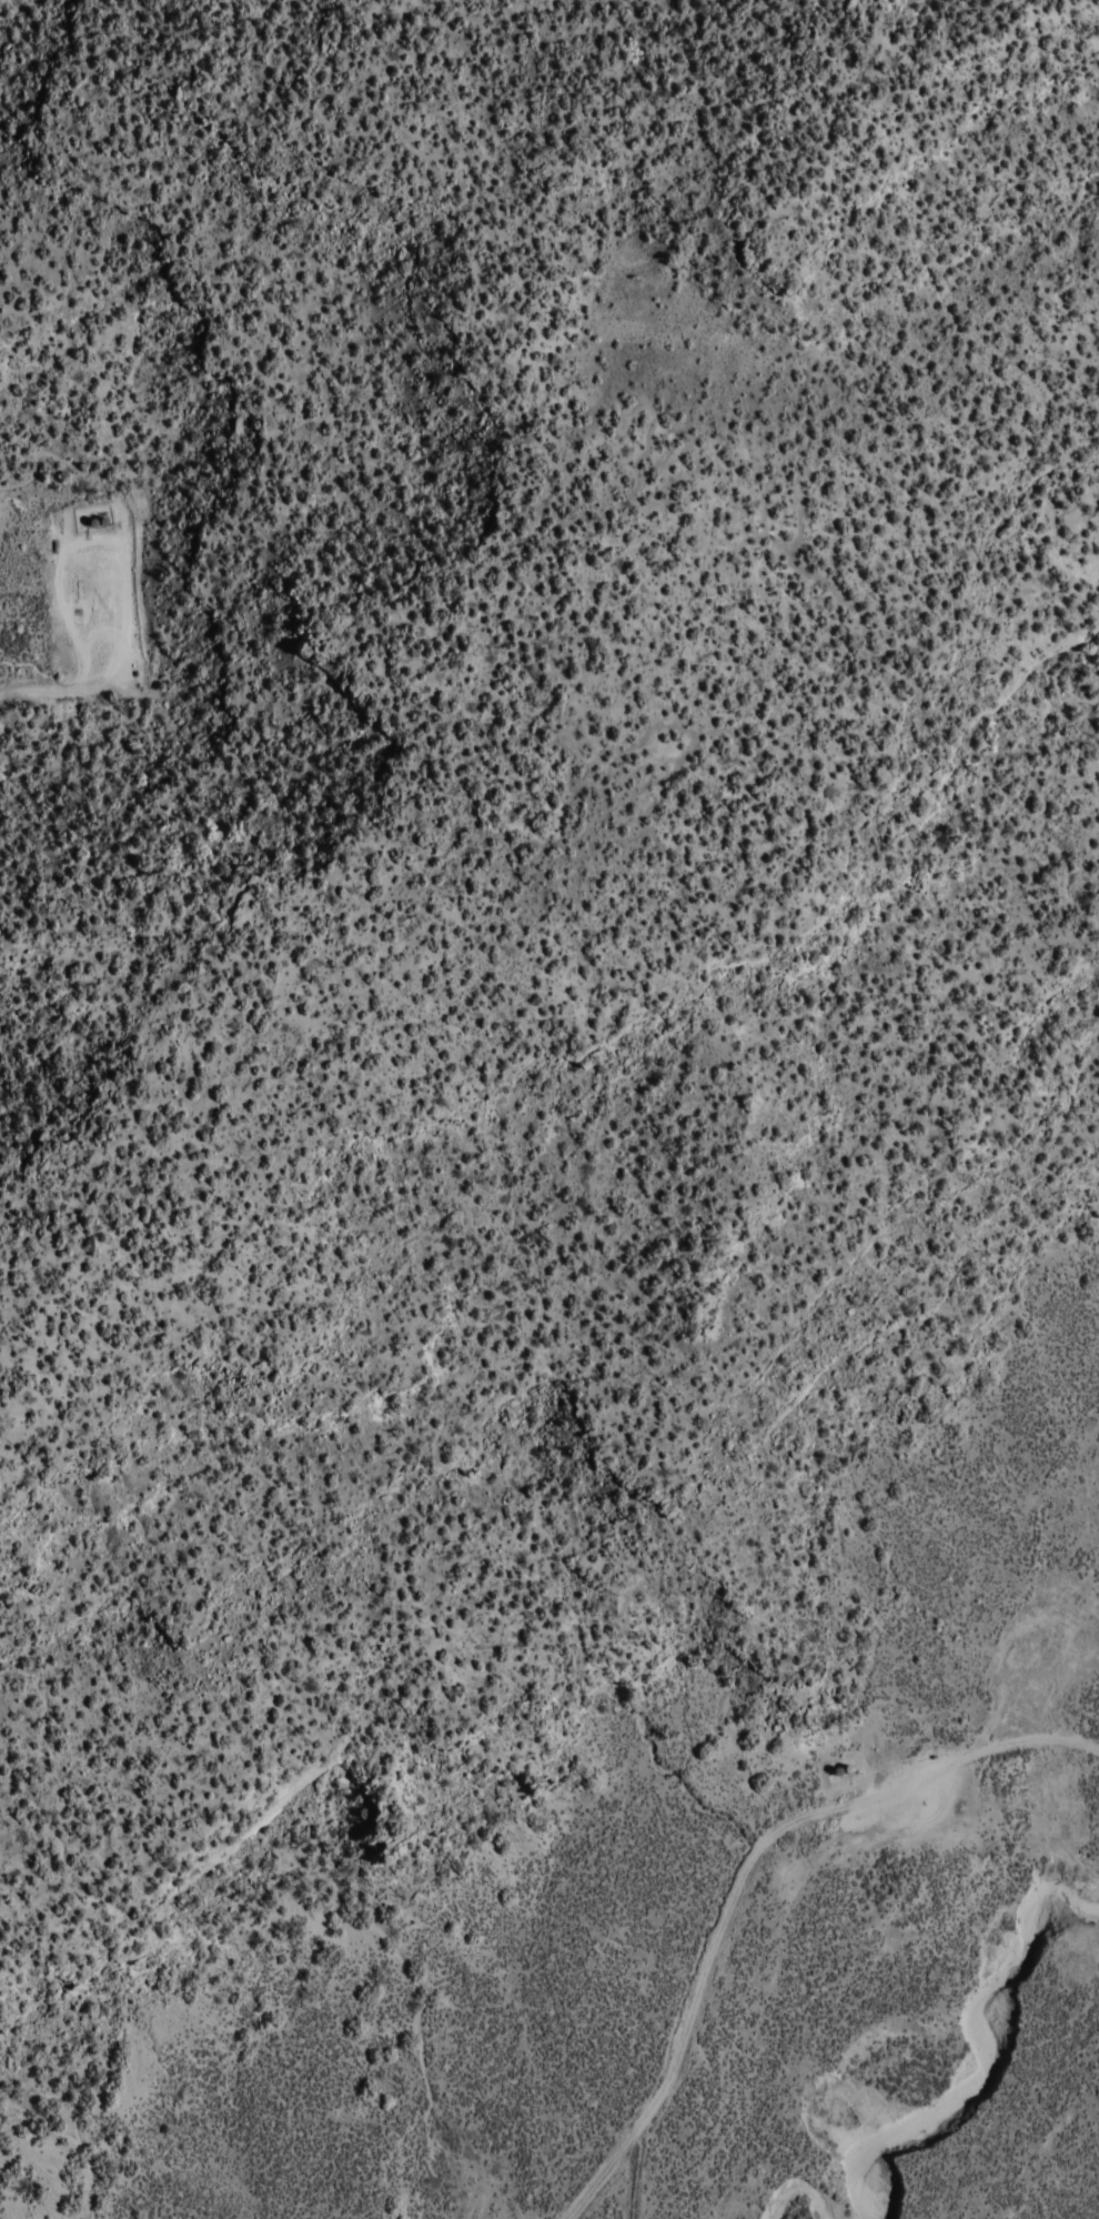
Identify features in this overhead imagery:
road: (1080, 1745)

